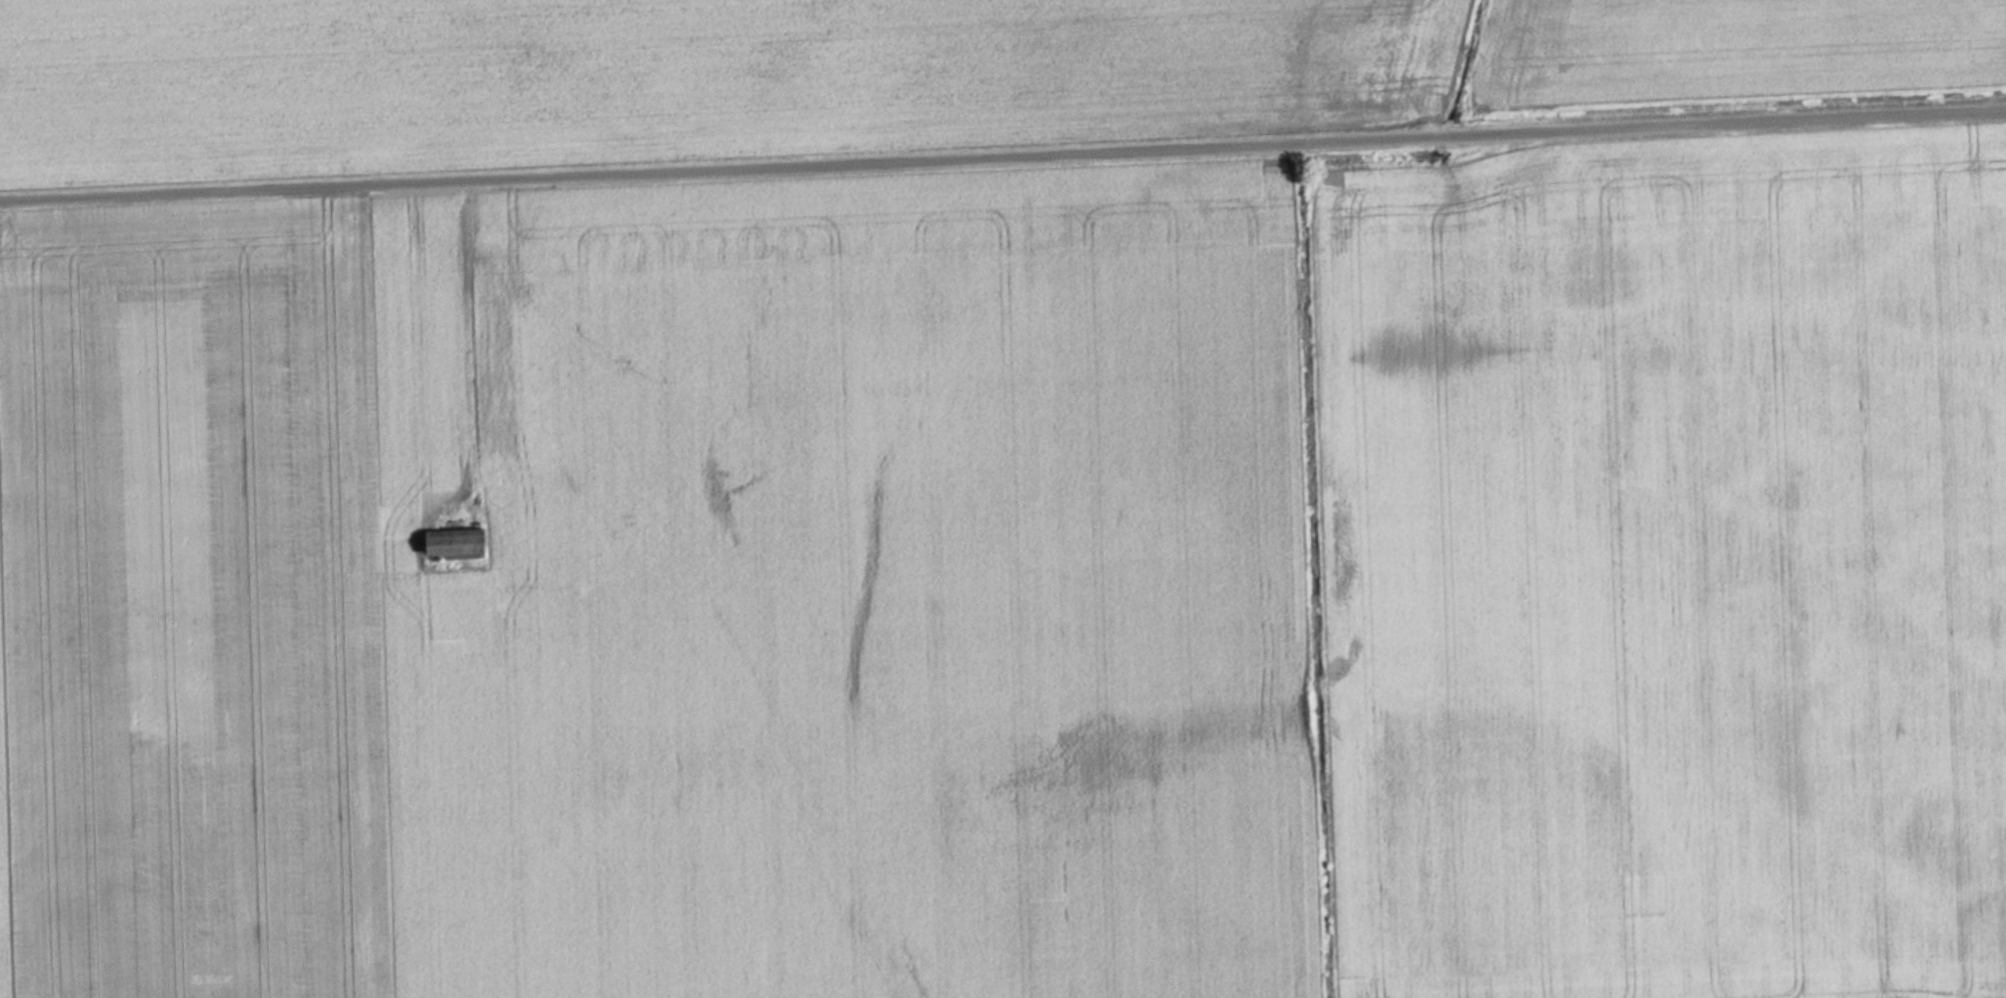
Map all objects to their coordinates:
crop: (874, 68)
road: (1003, 153)
building: (459, 545)

